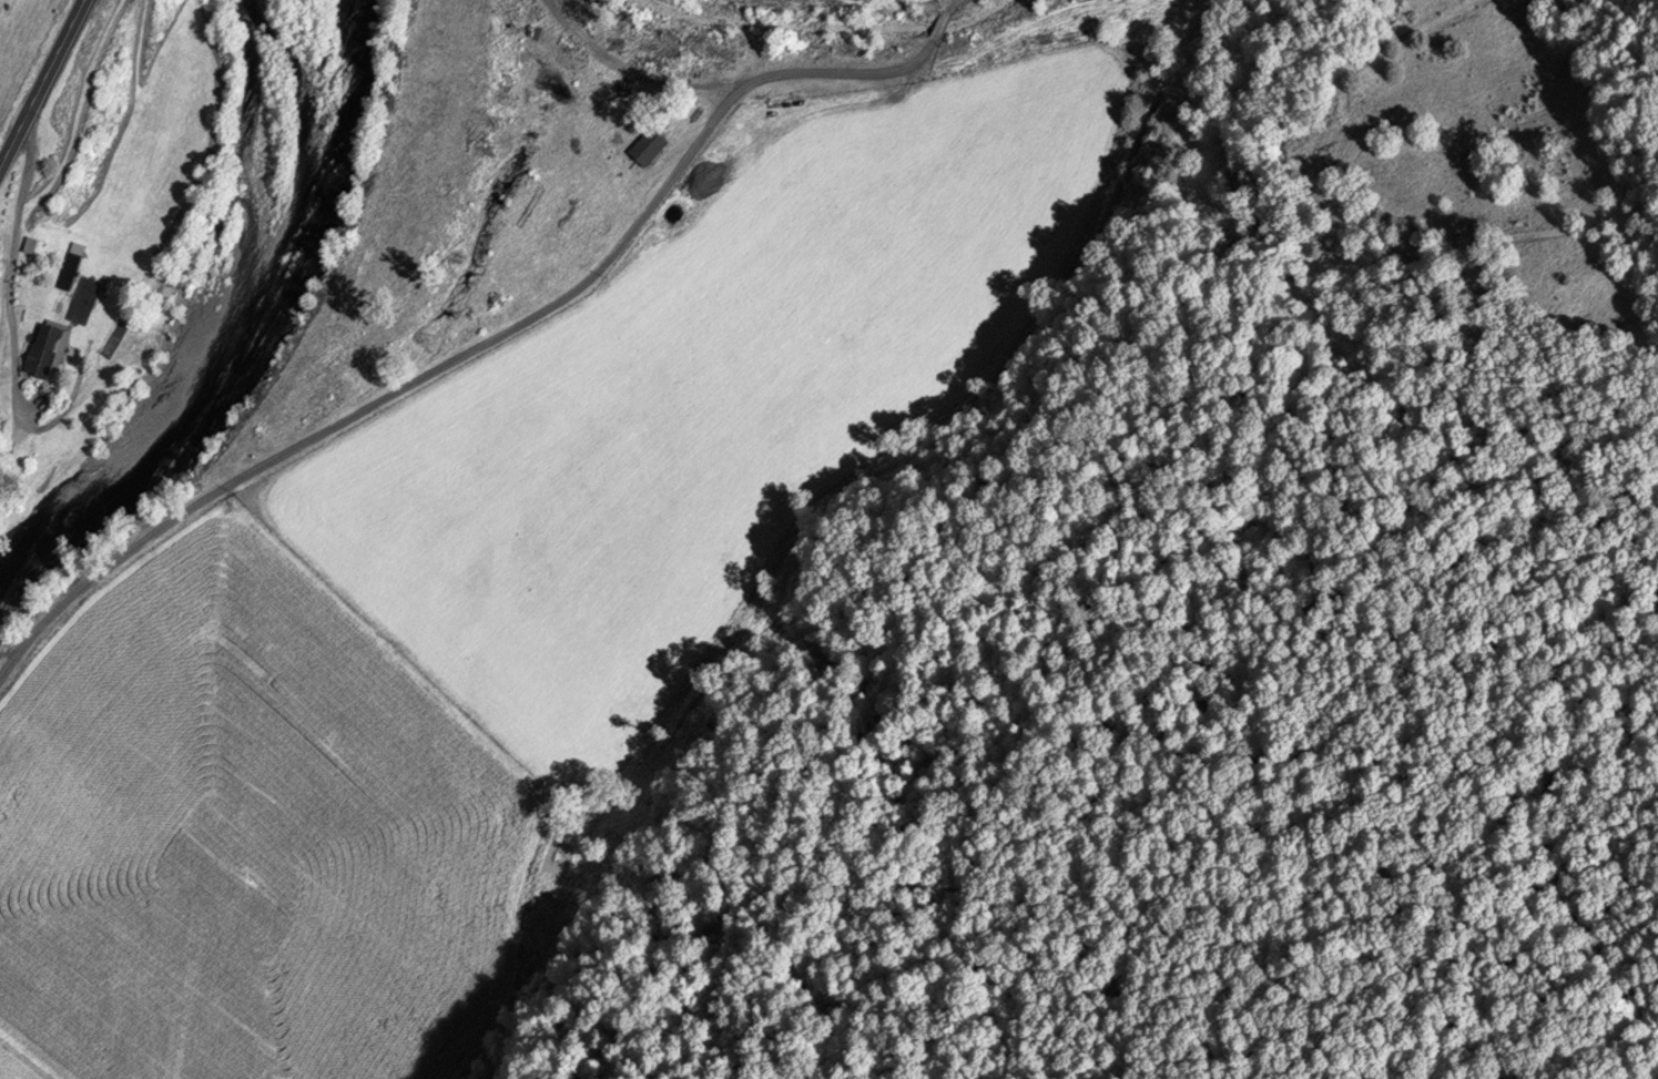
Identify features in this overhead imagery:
road: (952, 7)
road: (943, 27)
road: (39, 82)
building: (649, 149)
building: (71, 273)
river: (254, 334)
road: (477, 346)
building: (48, 356)
crop: (704, 403)
crop: (257, 835)
crop: (19, 1063)

